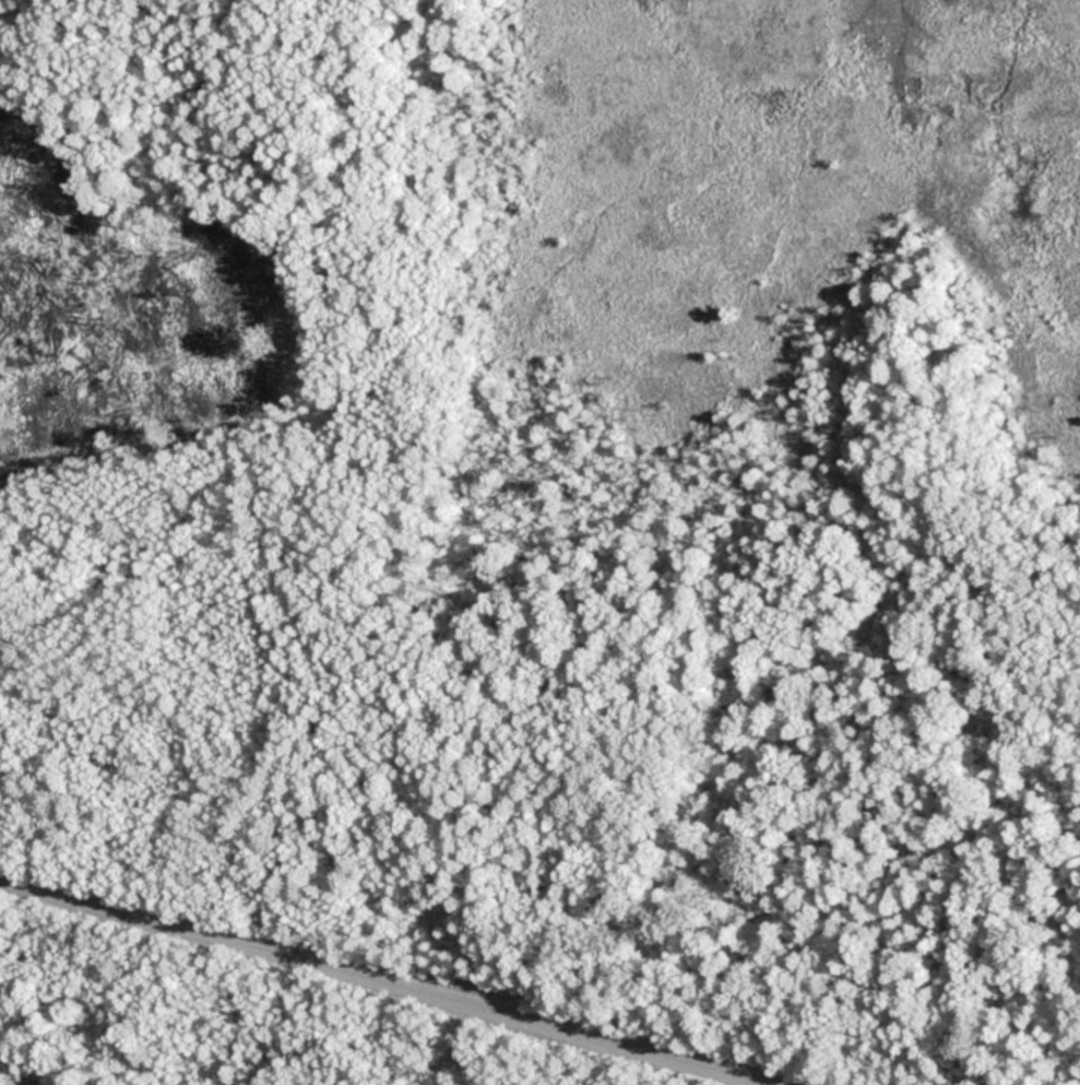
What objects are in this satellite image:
park: (539, 542)
road: (376, 987)

